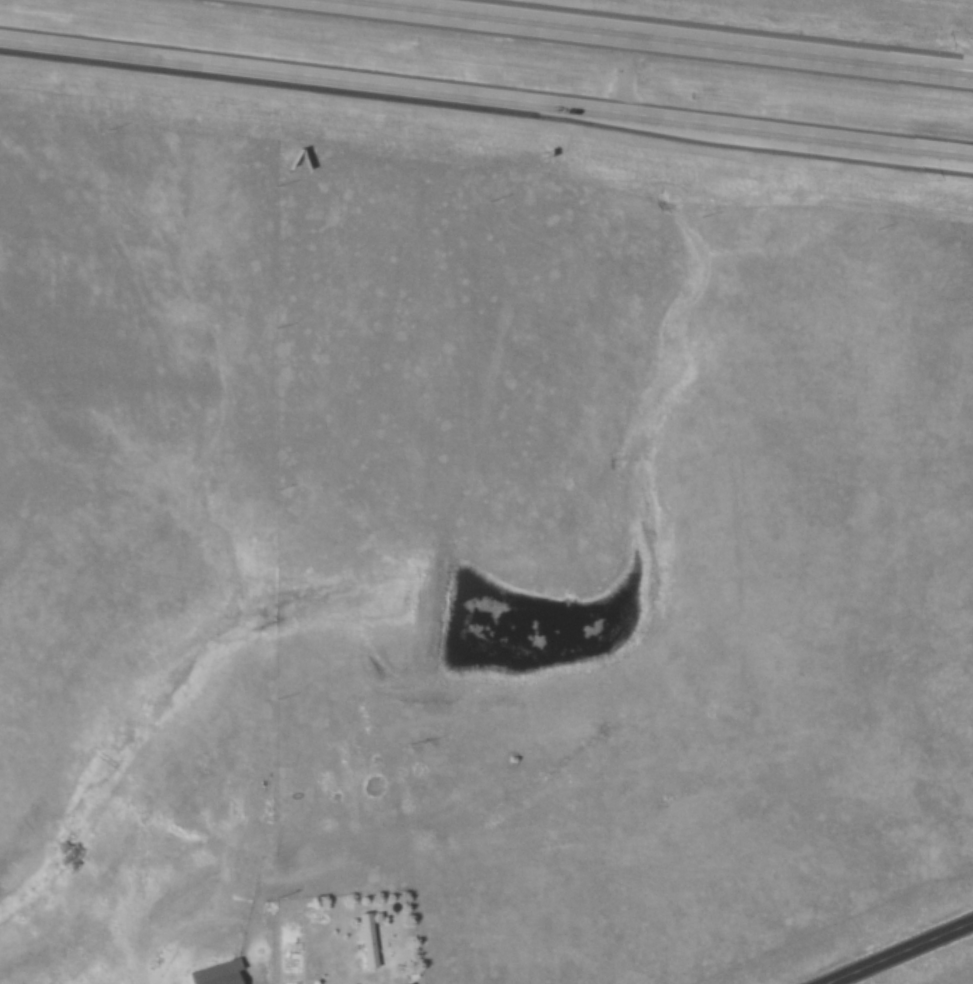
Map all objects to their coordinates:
road: (644, 38)
road: (873, 62)
road: (486, 96)
road: (907, 150)
building: (367, 940)
road: (900, 953)
road: (250, 962)
building: (219, 979)

